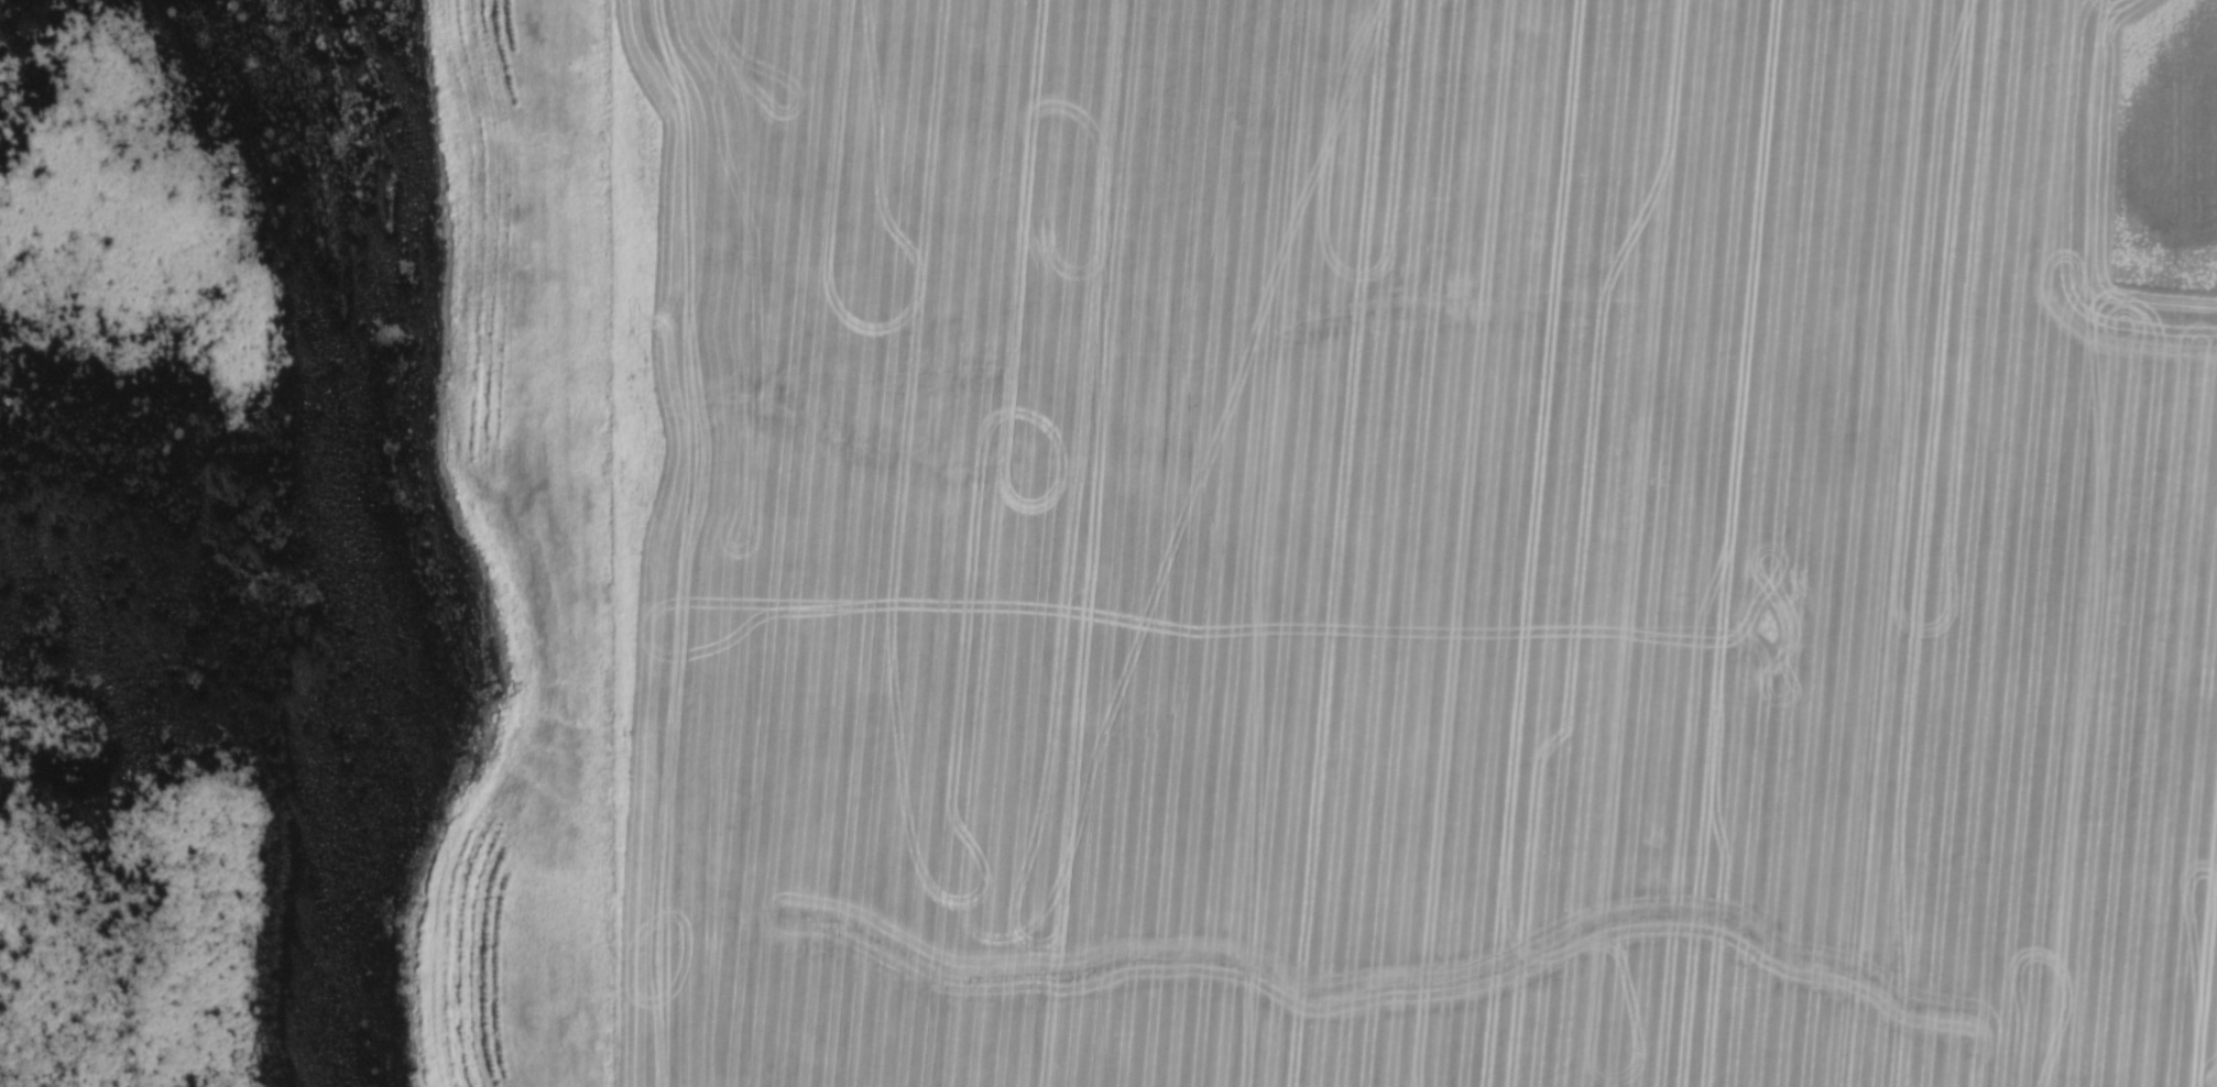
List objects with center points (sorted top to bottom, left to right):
crop: (1420, 543)

